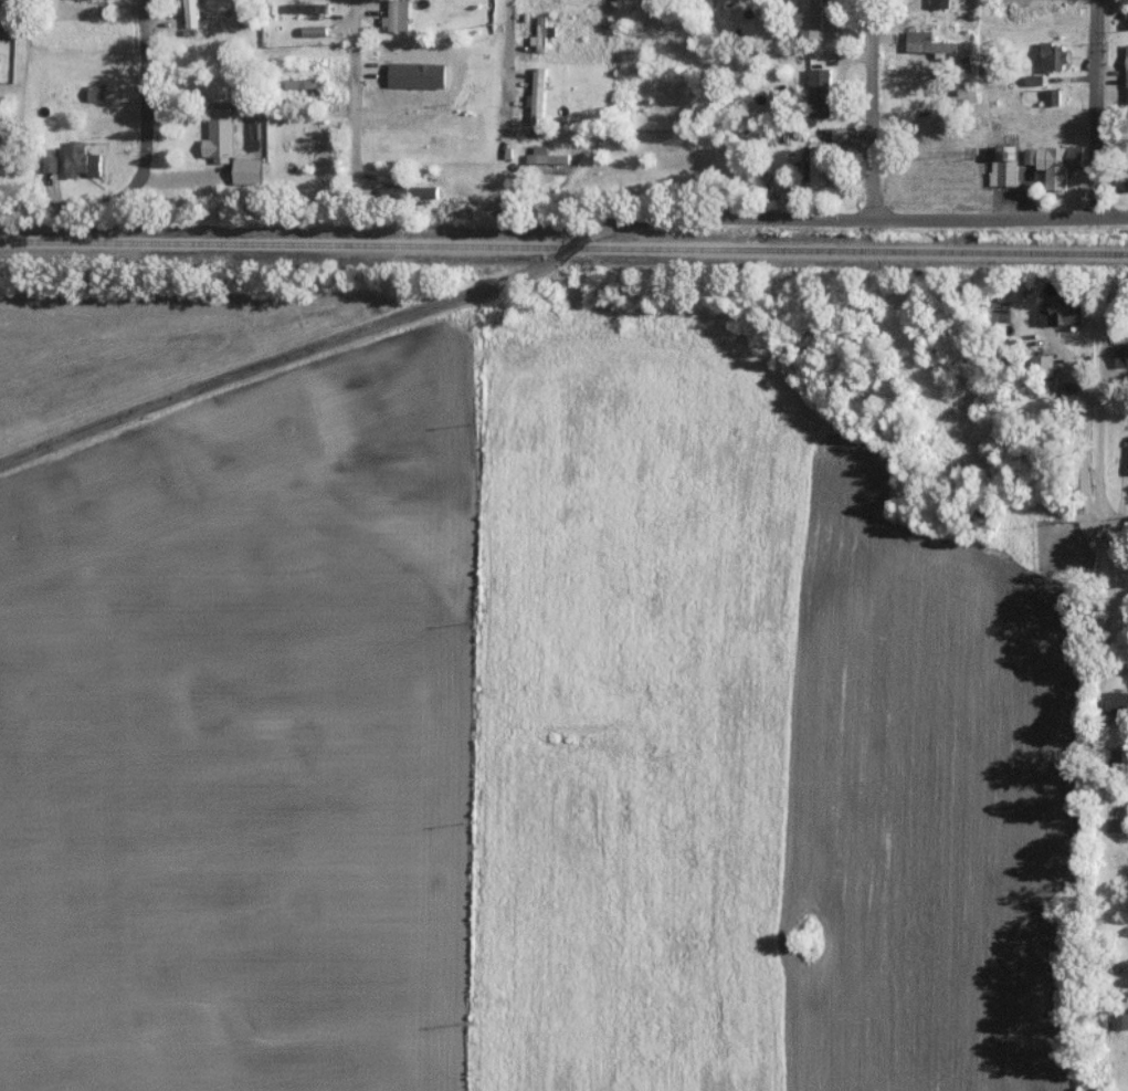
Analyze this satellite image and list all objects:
building: (940, 2)
building: (307, 7)
building: (190, 13)
building: (397, 15)
building: (811, 19)
building: (314, 30)
building: (540, 33)
building: (929, 43)
building: (1054, 55)
road: (509, 69)
building: (1127, 73)
building: (306, 83)
building: (97, 92)
building: (217, 92)
building: (820, 92)
building: (967, 93)
building: (538, 94)
building: (1053, 96)
road: (146, 97)
road: (871, 107)
road: (1094, 109)
road: (355, 113)
building: (840, 135)
building: (219, 141)
building: (546, 156)
building: (81, 160)
building: (1055, 162)
building: (50, 164)
building: (1005, 166)
building: (815, 167)
building: (247, 170)
building: (1126, 177)
building: (409, 192)
road: (68, 208)
road: (846, 216)
railway: (563, 249)
building: (1063, 312)
building: (1121, 355)
road: (285, 363)
building: (1046, 365)
road: (1097, 450)
road: (1114, 526)
road: (1113, 600)
building: (1115, 702)

